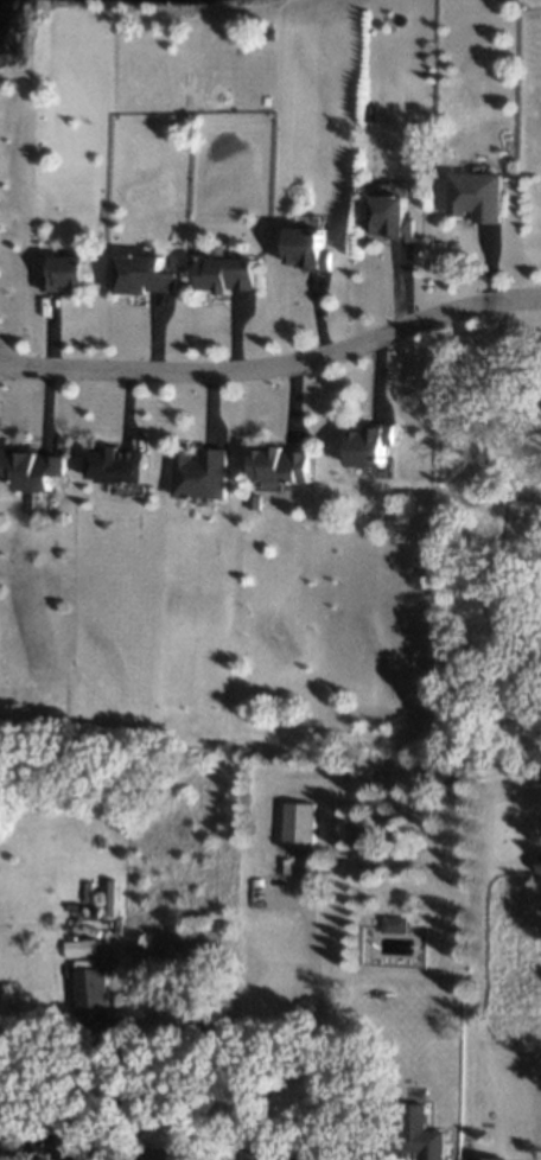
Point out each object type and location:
building: (479, 196)
building: (394, 217)
building: (312, 247)
building: (68, 274)
building: (151, 276)
building: (235, 276)
road: (275, 365)
building: (378, 448)
building: (284, 469)
building: (121, 470)
building: (44, 472)
building: (204, 474)
building: (301, 826)
building: (540, 865)
building: (393, 923)
building: (81, 947)
building: (421, 1134)
building: (265, 1153)
building: (488, 1158)

